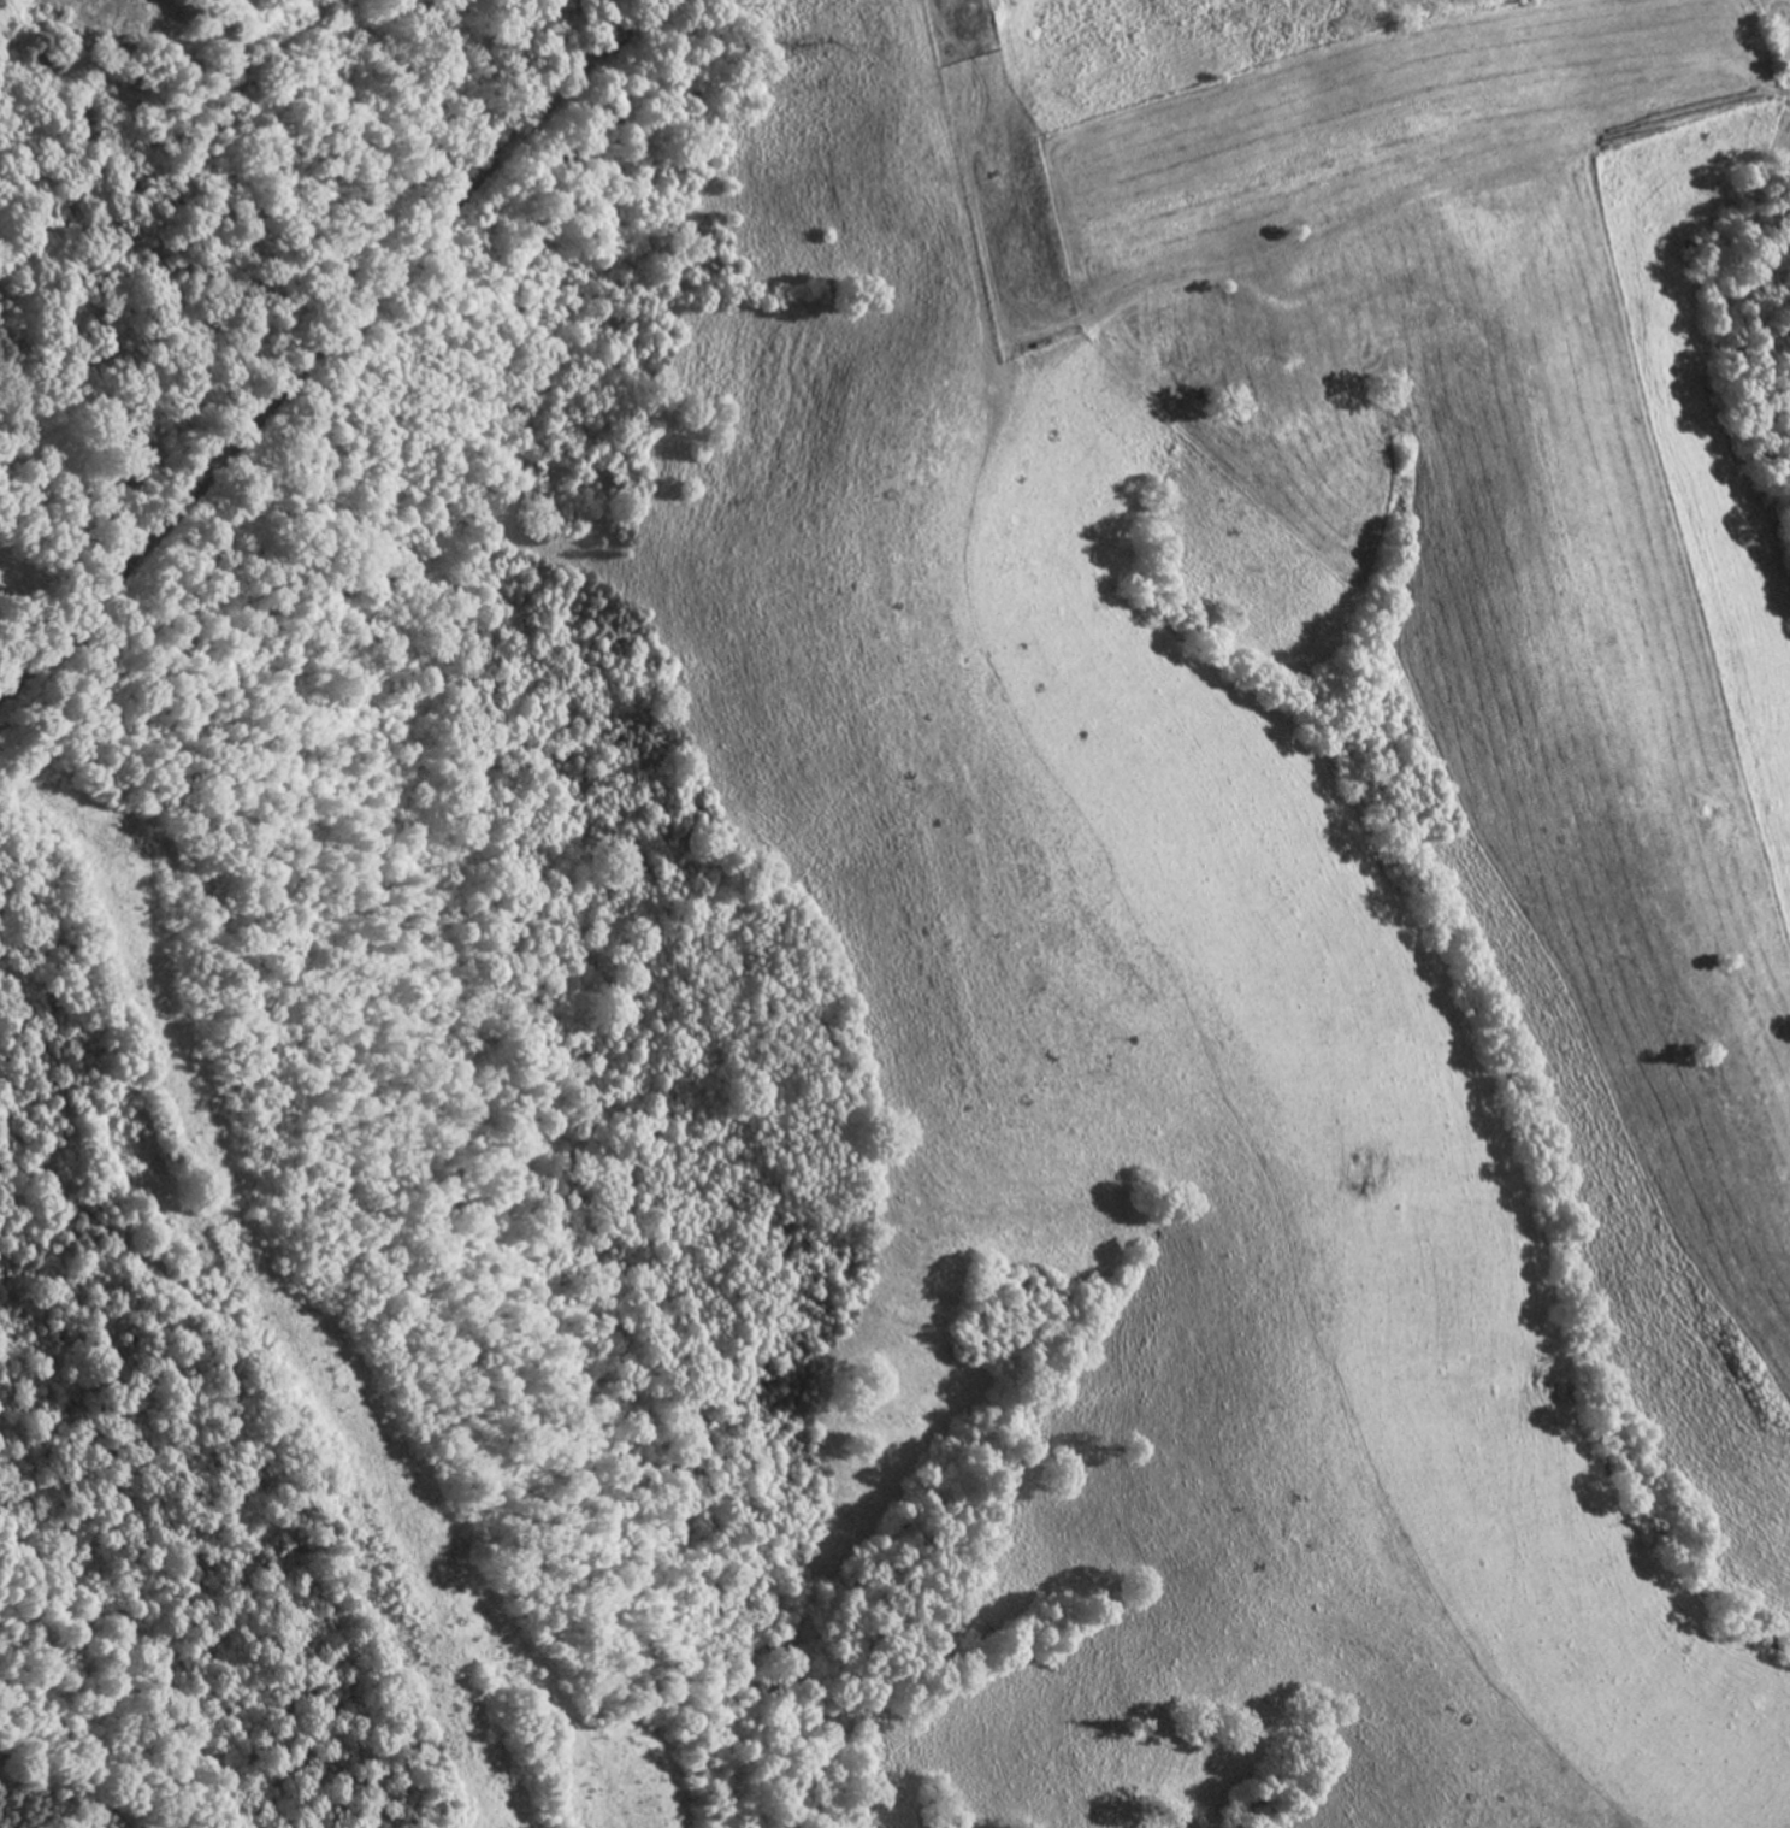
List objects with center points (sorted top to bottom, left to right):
railway: (323, 336)

